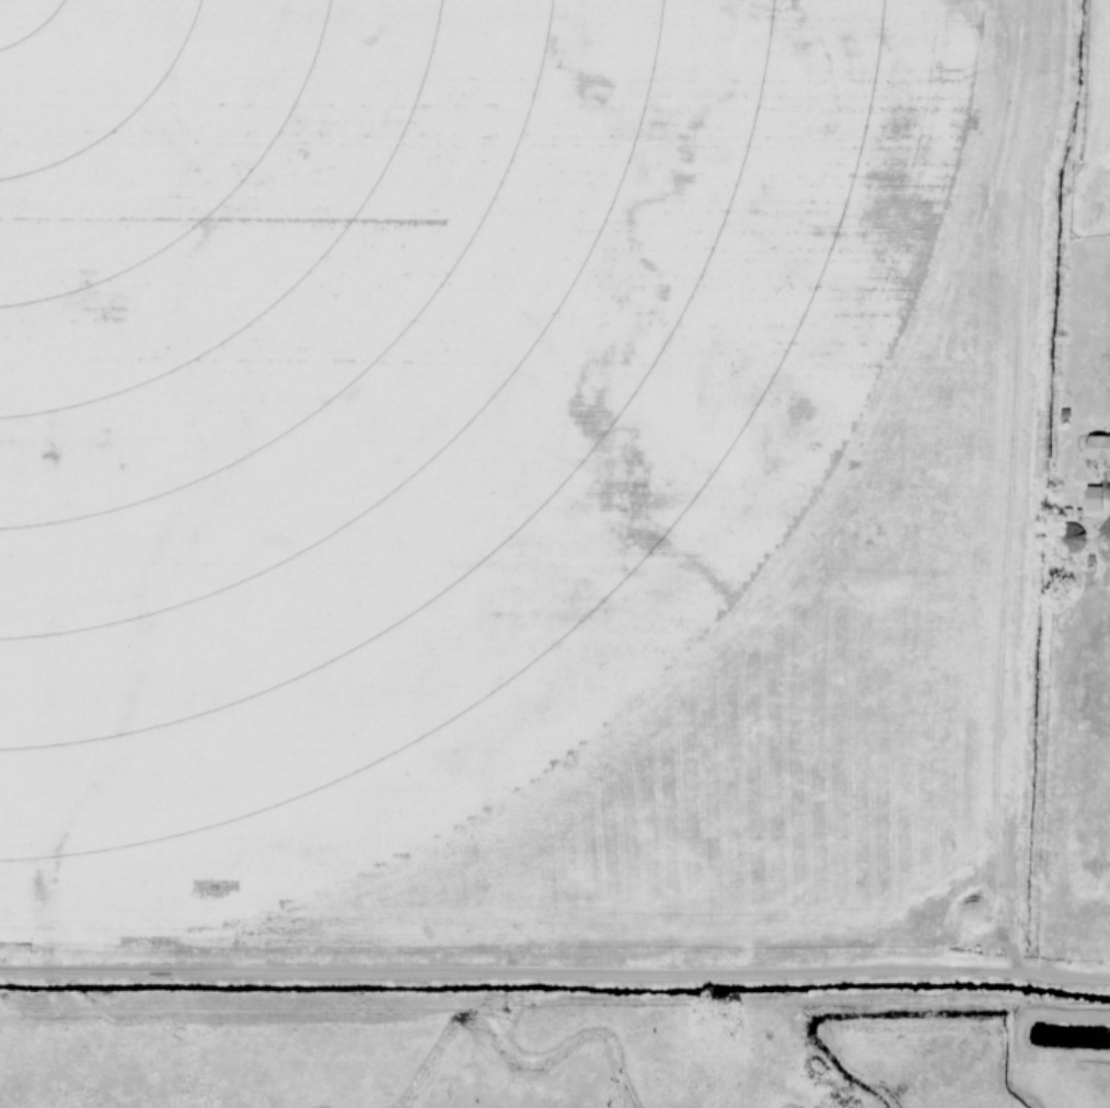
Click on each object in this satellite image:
building: (1098, 448)
building: (1095, 499)
building: (1071, 539)

